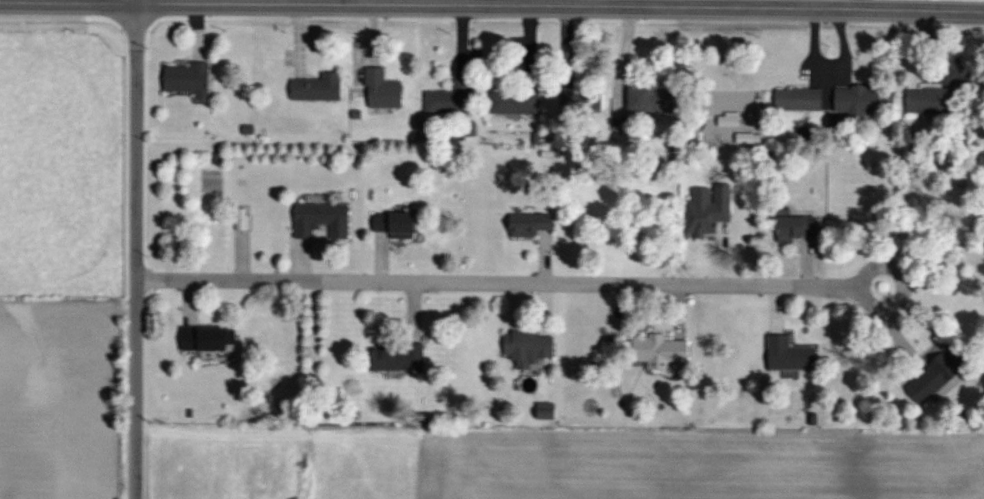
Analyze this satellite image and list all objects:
road: (492, 4)
building: (192, 81)
building: (322, 89)
building: (387, 90)
building: (454, 100)
building: (583, 101)
building: (656, 101)
building: (801, 101)
building: (932, 101)
building: (860, 102)
building: (521, 104)
building: (711, 210)
building: (325, 221)
building: (535, 225)
building: (401, 226)
building: (801, 229)
road: (135, 249)
road: (507, 282)
building: (209, 340)
building: (531, 349)
building: (665, 351)
building: (792, 356)
building: (406, 359)
building: (943, 378)

